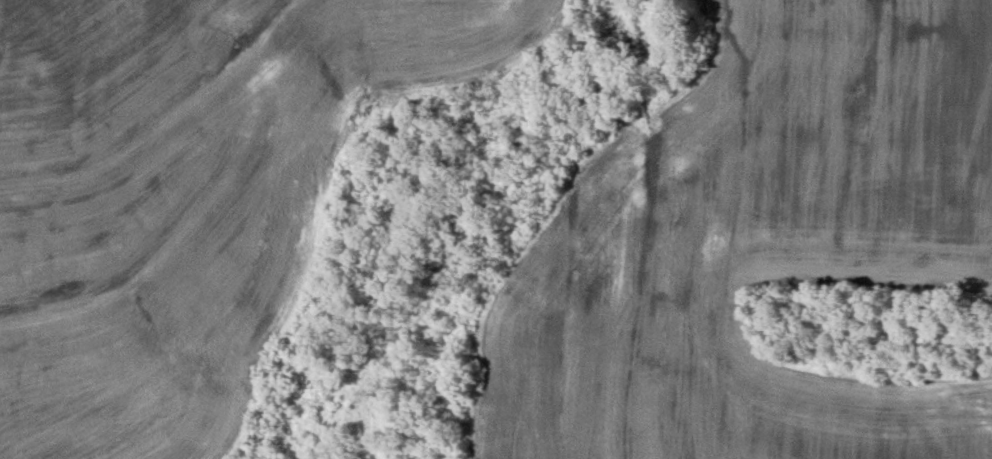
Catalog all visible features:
crop: (190, 194)
crop: (756, 249)

